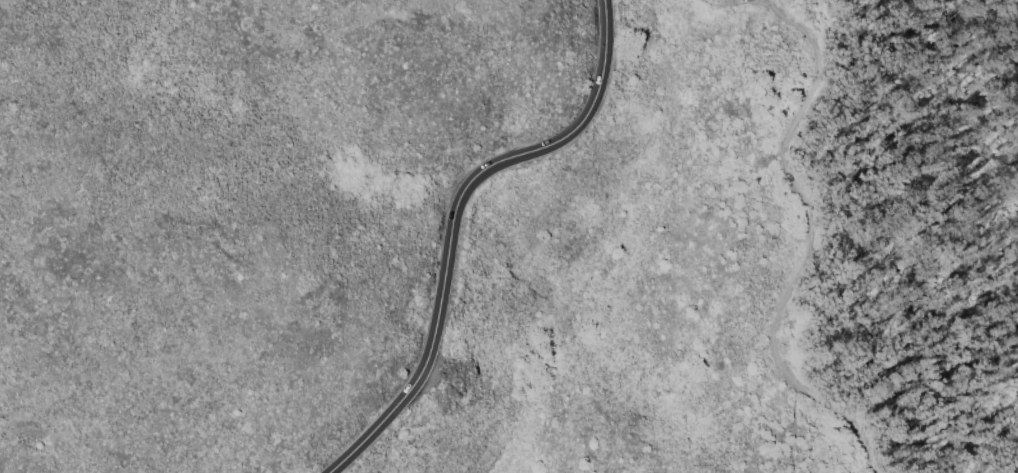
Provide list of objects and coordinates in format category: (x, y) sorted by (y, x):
road: (764, 2)
road: (733, 3)
road: (451, 217)
road: (807, 244)
road: (789, 420)

